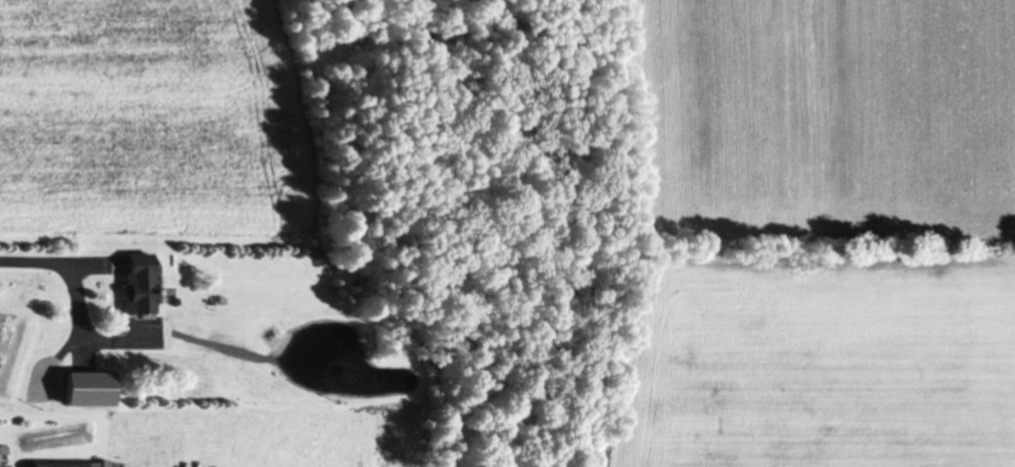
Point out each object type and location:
building: (134, 282)
building: (84, 387)
building: (56, 463)

